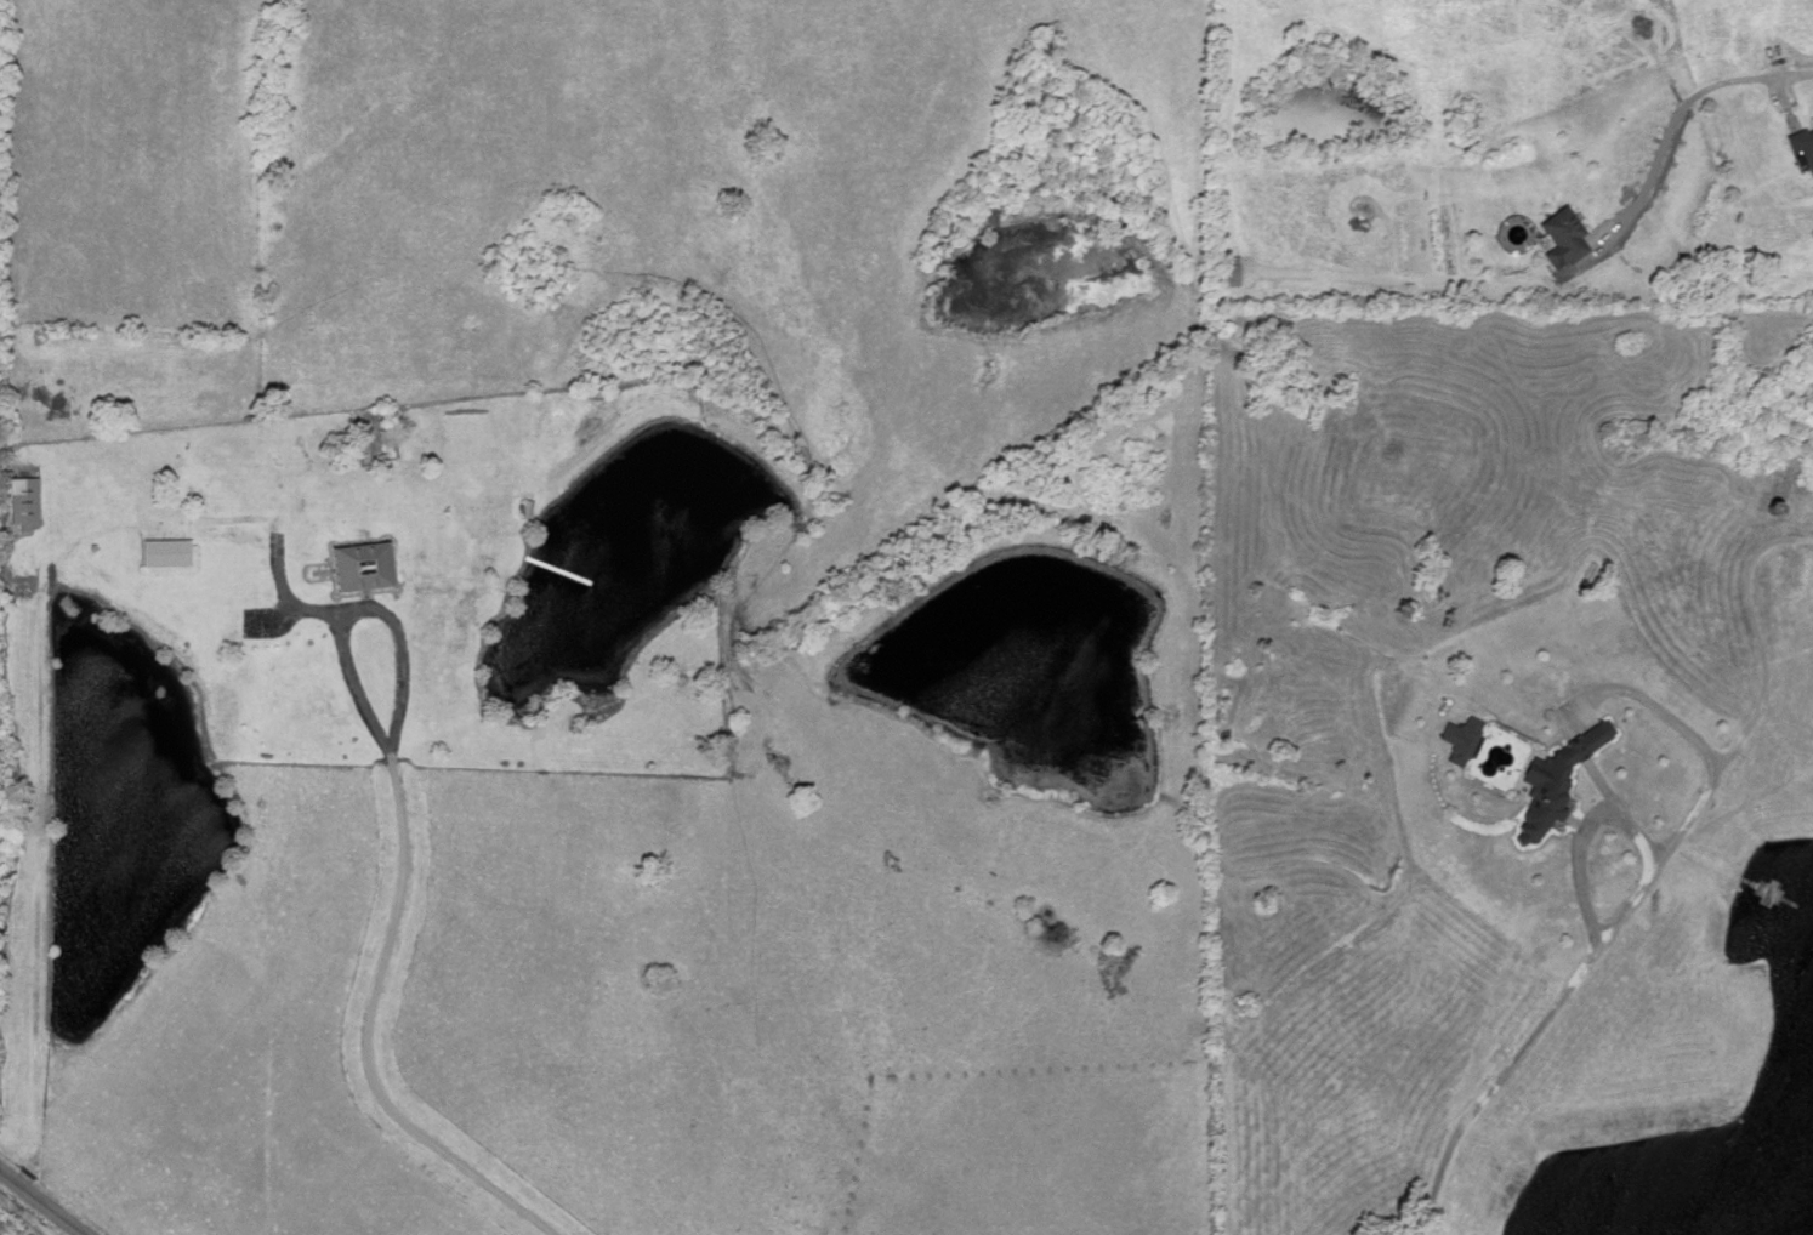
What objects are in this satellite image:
road: (1673, 113)
building: (1802, 140)
building: (1811, 163)
building: (1565, 235)
building: (25, 499)
building: (160, 552)
building: (366, 565)
road: (360, 607)
road: (36, 685)
road: (1595, 947)
road: (365, 1037)
road: (44, 1203)

